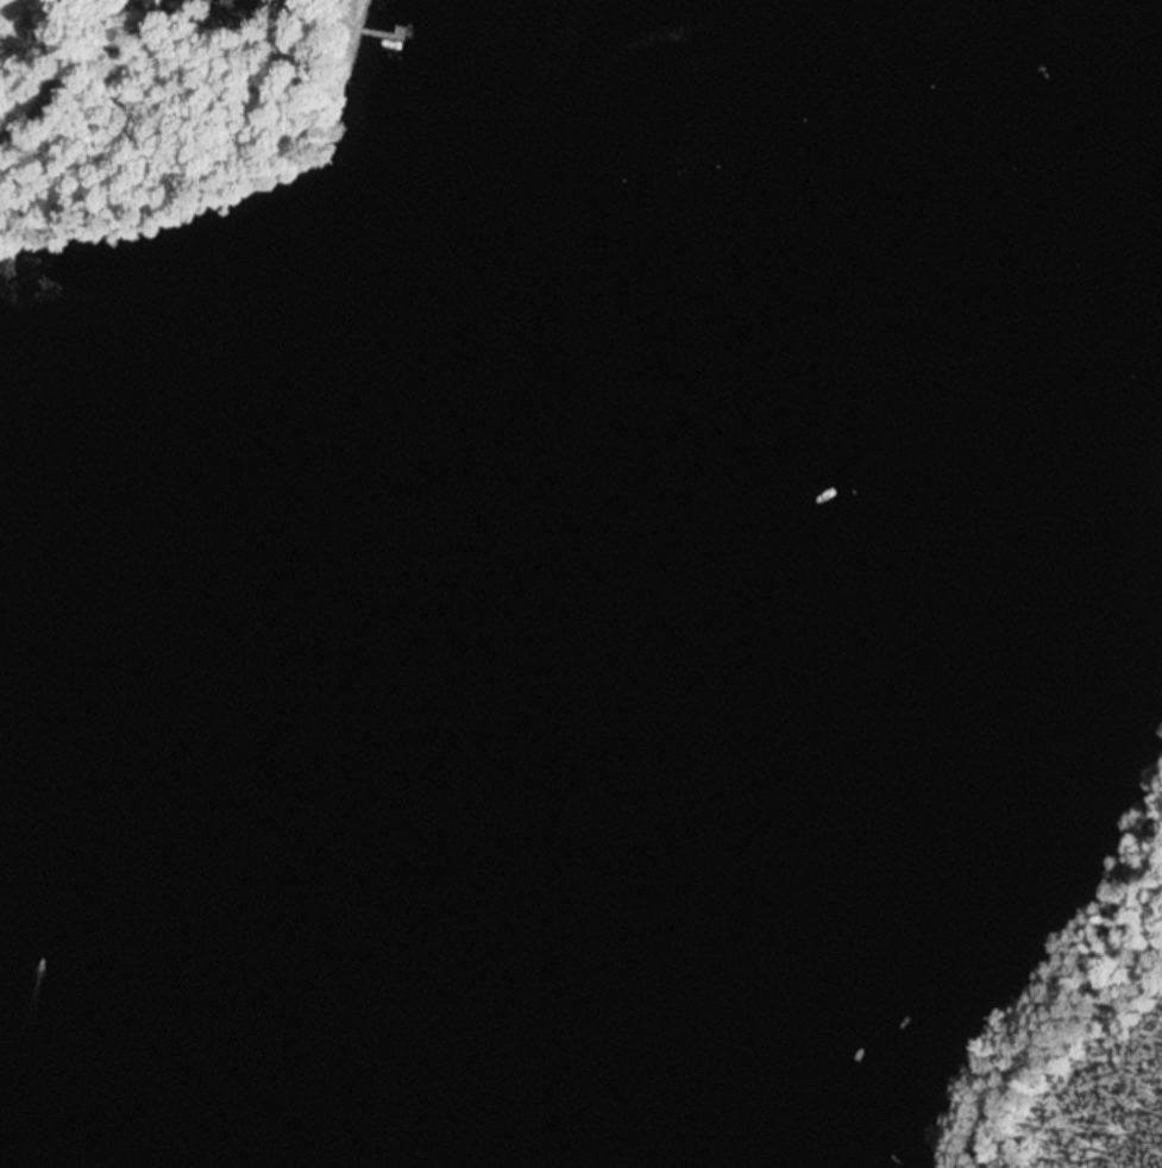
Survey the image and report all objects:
road: (32, 62)

